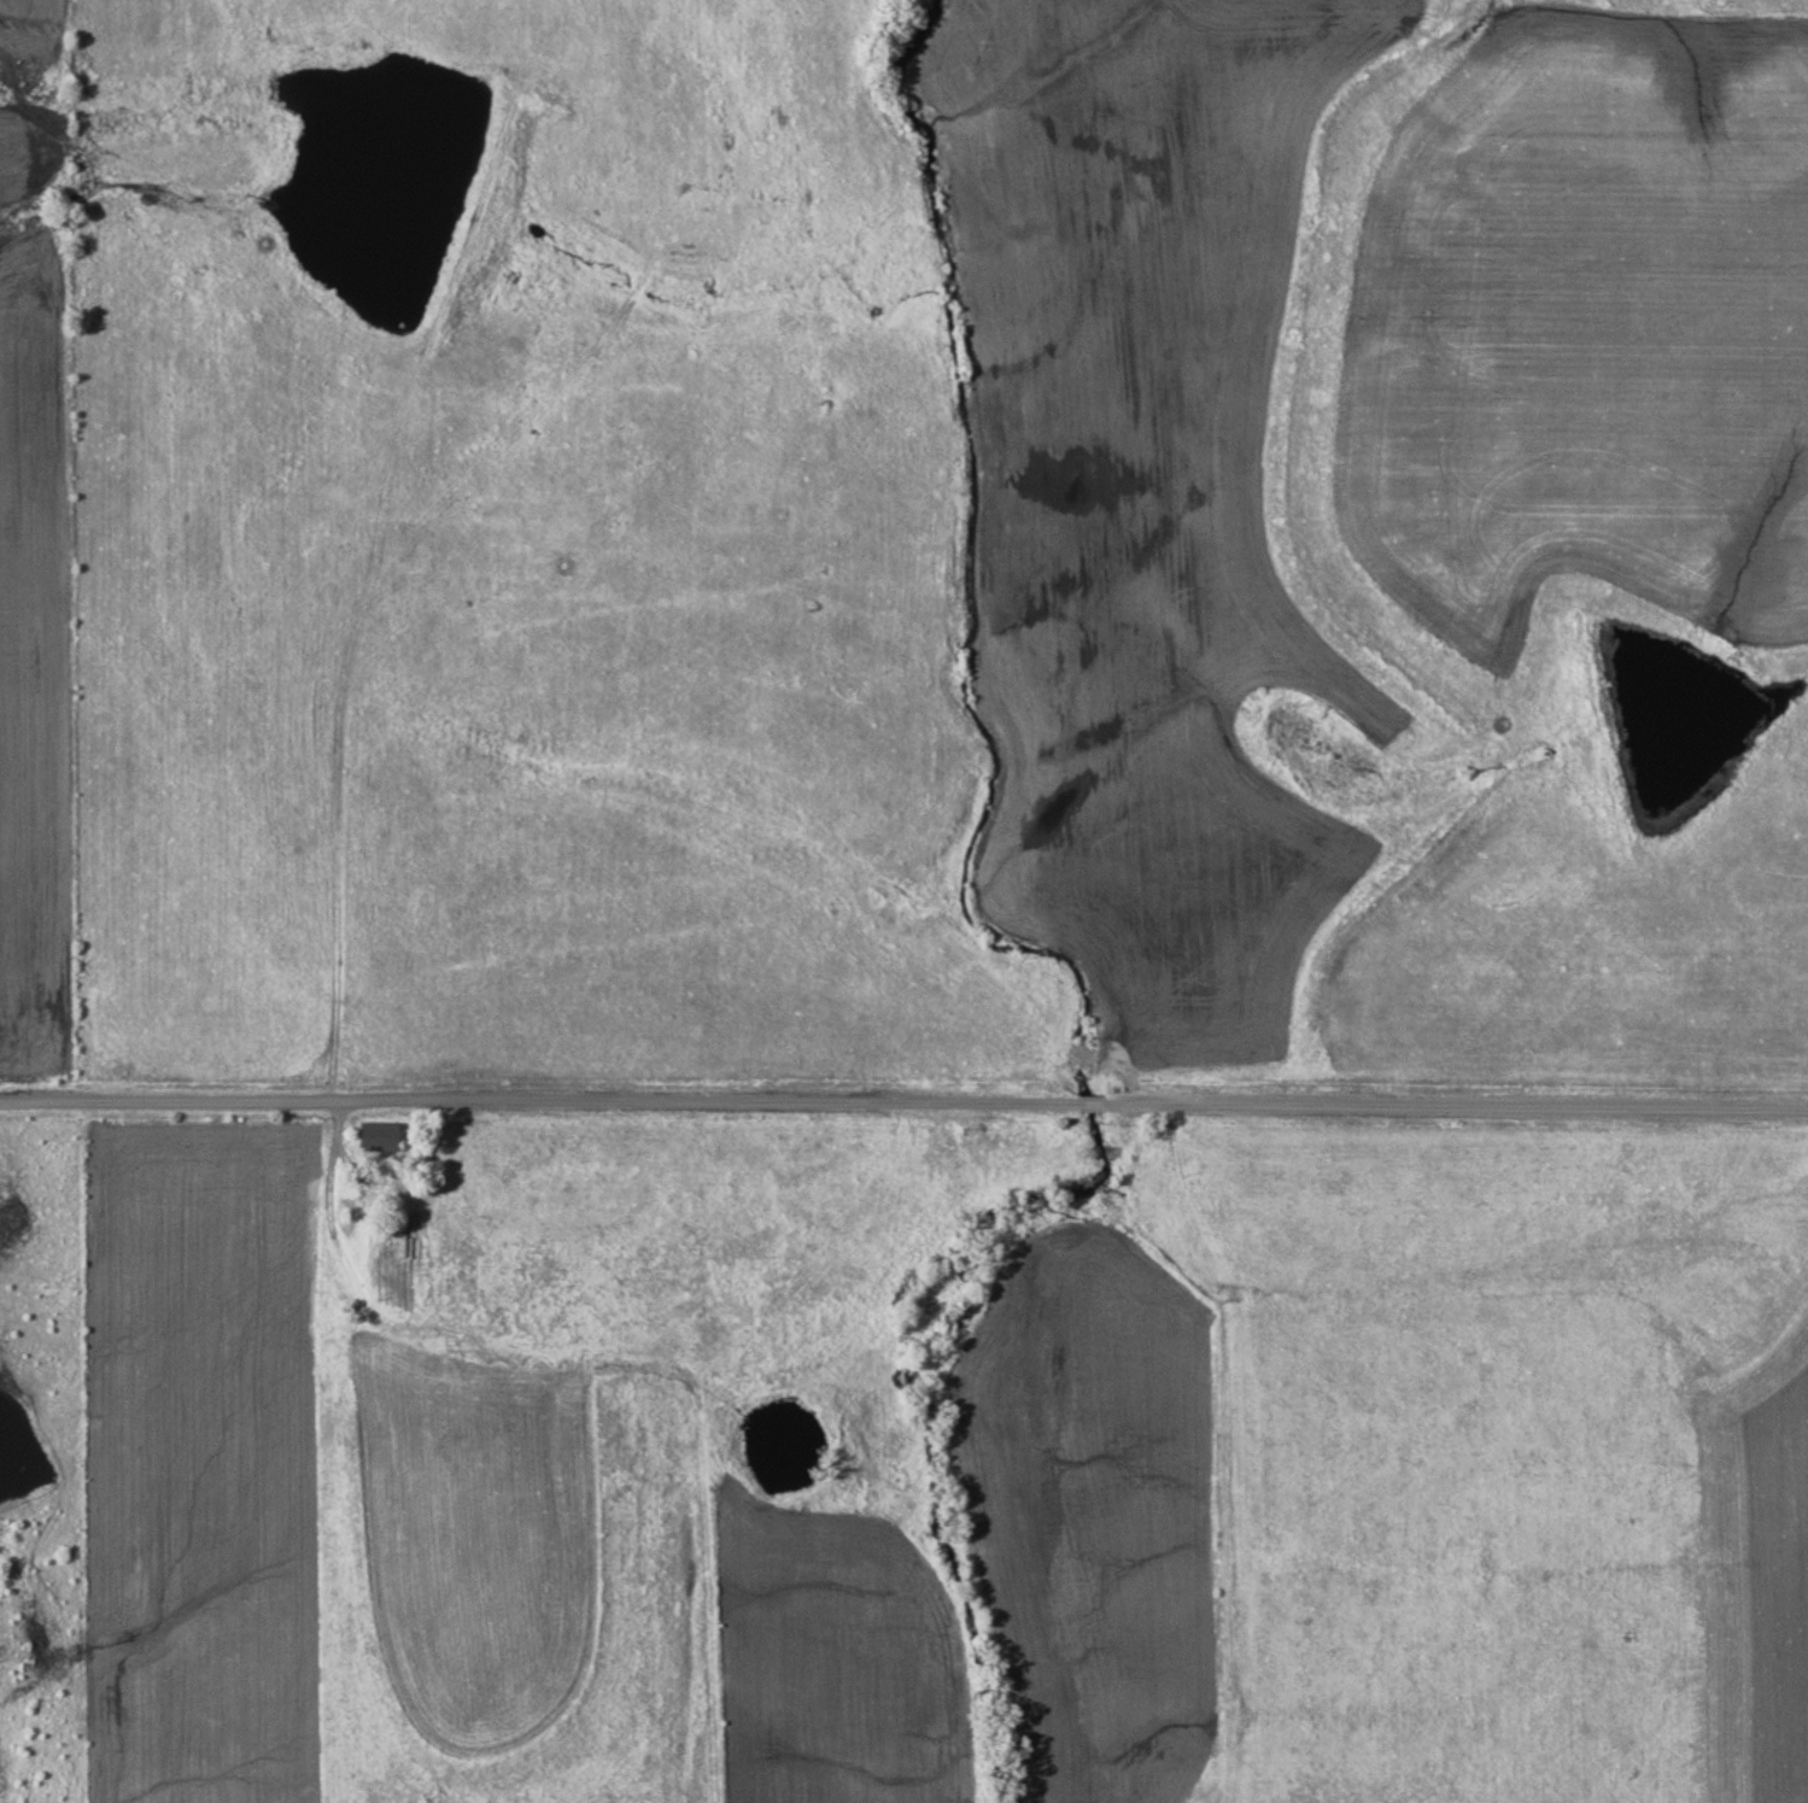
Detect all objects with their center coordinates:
road: (903, 1101)
building: (373, 1136)

